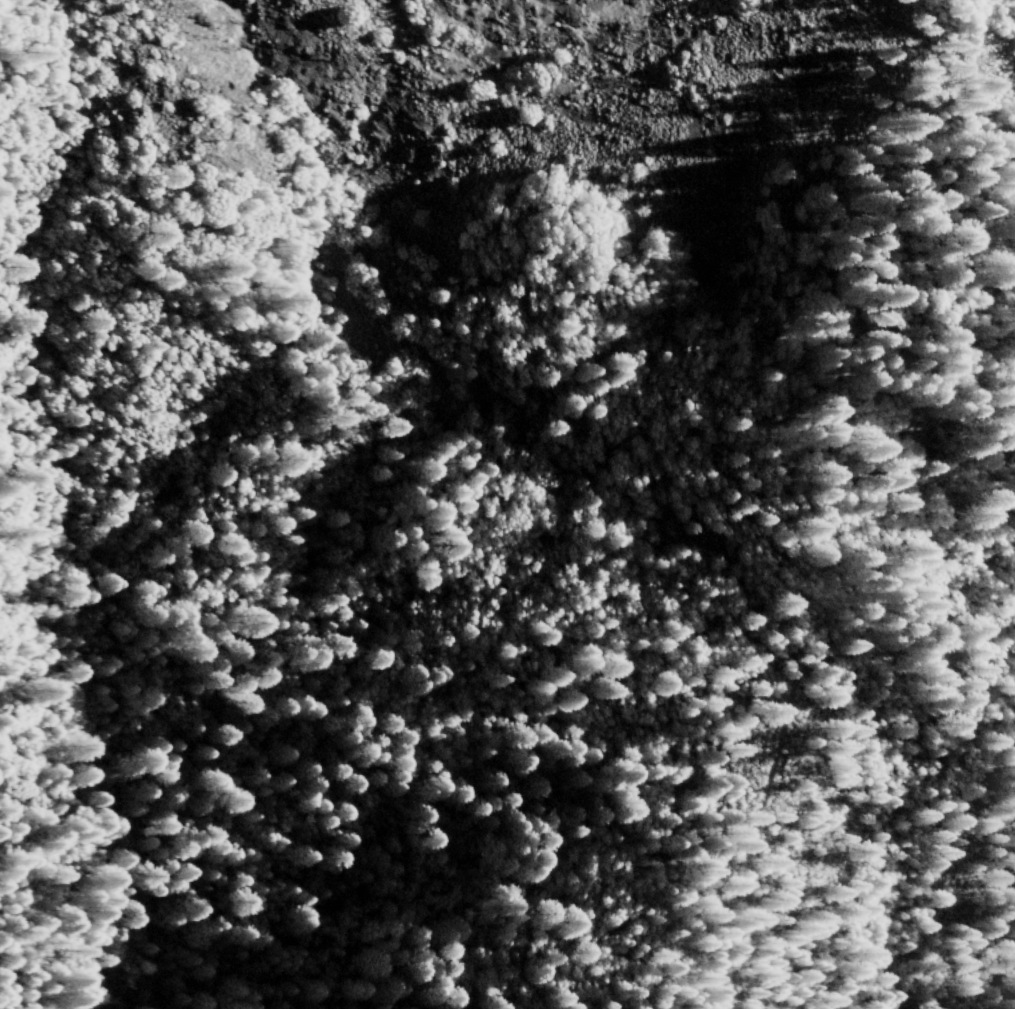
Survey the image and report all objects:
road: (980, 85)
road: (968, 159)

